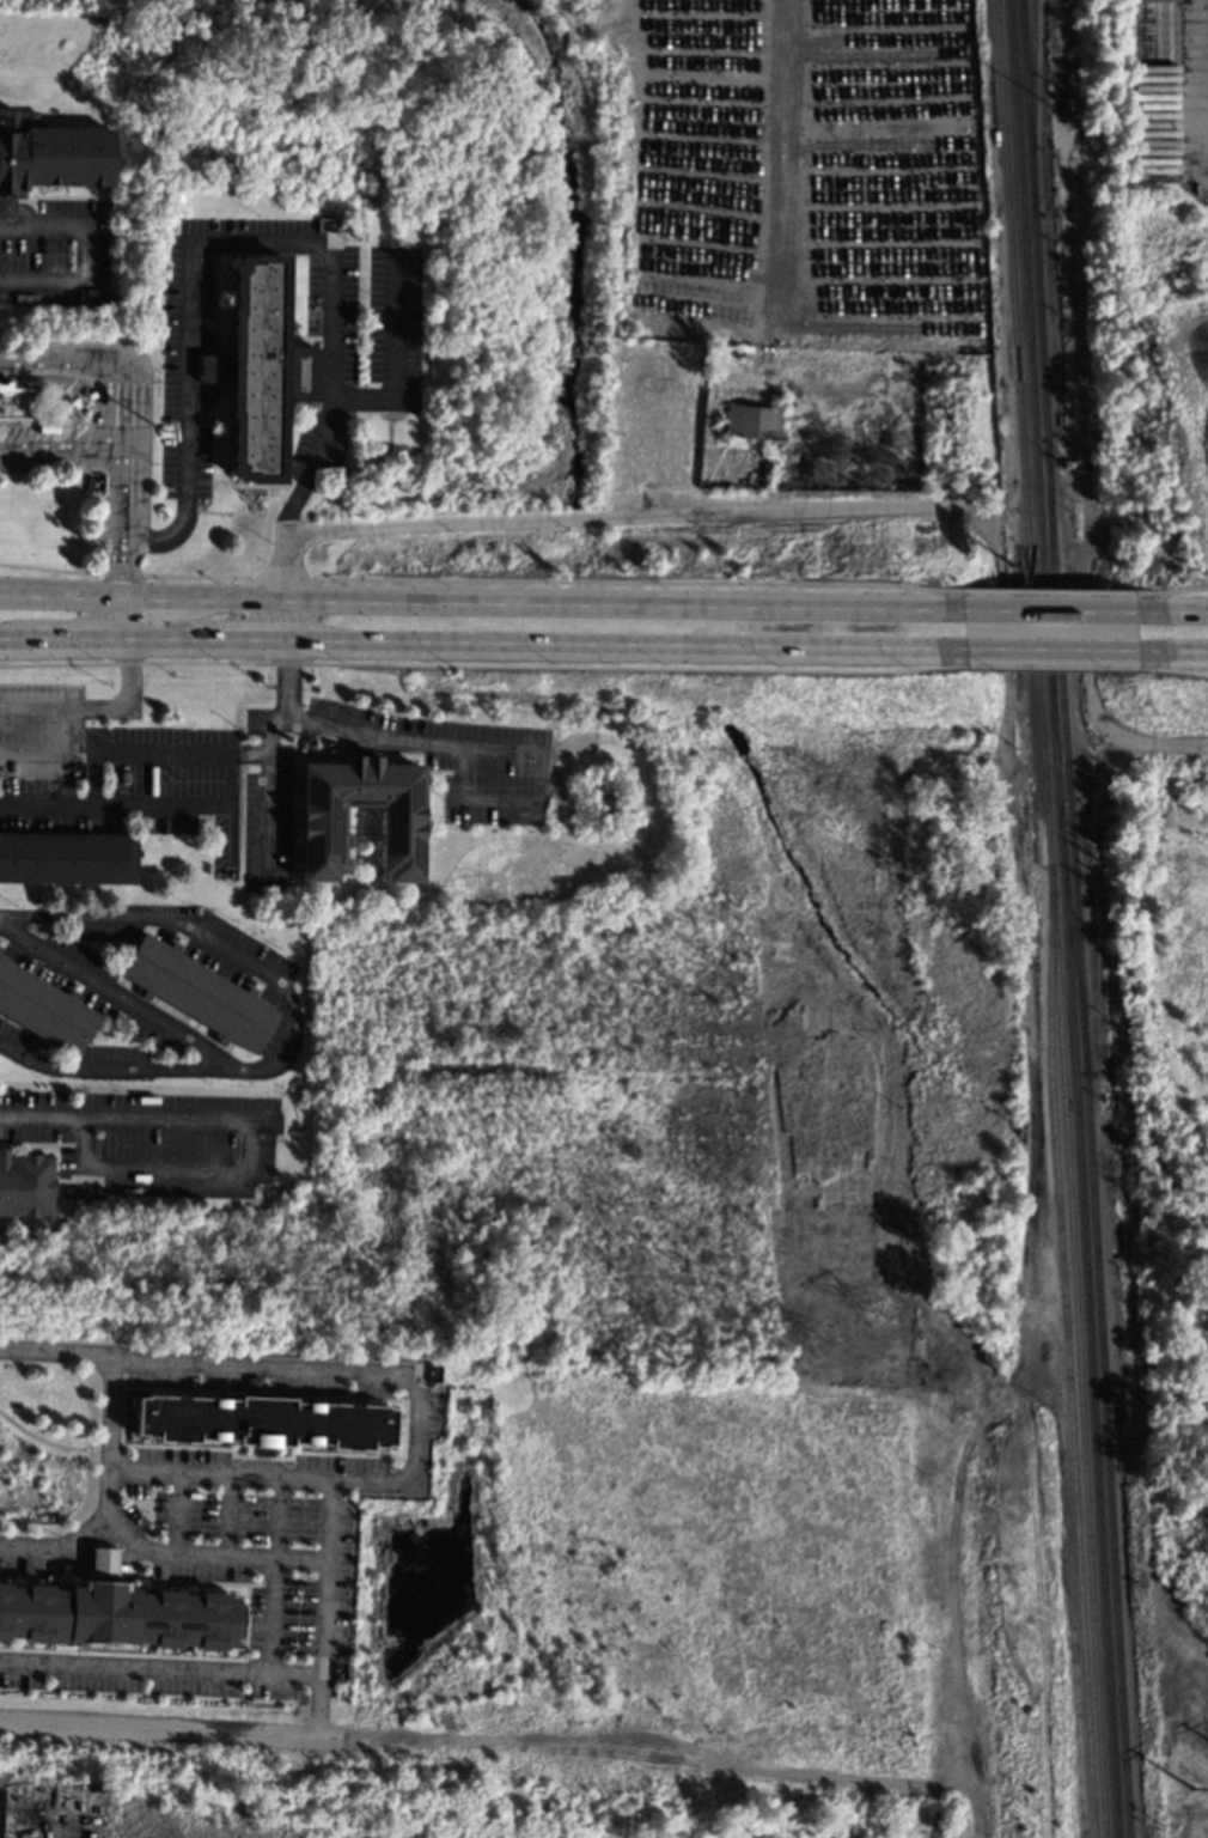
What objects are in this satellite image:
building: (1067, 102)
railway: (1031, 106)
building: (48, 156)
road: (764, 196)
railway: (1035, 219)
building: (319, 224)
road: (230, 242)
road: (83, 257)
building: (97, 294)
road: (392, 353)
road: (97, 363)
building: (257, 369)
parking lot: (374, 370)
road: (75, 379)
railway: (1032, 379)
building: (950, 396)
building: (648, 397)
road: (97, 398)
building: (13, 401)
building: (752, 420)
road: (59, 449)
power tower: (823, 467)
power tower: (880, 474)
building: (89, 482)
road: (1087, 482)
road: (602, 517)
road: (117, 546)
railway: (1051, 598)
road: (480, 600)
road: (1045, 610)
road: (1170, 611)
road: (4, 638)
road: (67, 639)
road: (171, 640)
road: (251, 640)
road: (623, 644)
road: (1048, 649)
road: (1171, 650)
road: (286, 680)
road: (96, 706)
road: (343, 730)
building: (530, 747)
road: (36, 749)
road: (128, 750)
road: (484, 751)
railway: (1066, 755)
road: (93, 777)
railway: (1056, 781)
power tower: (792, 787)
parking lot: (115, 789)
power tower: (852, 790)
road: (160, 804)
road: (230, 839)
building: (319, 839)
building: (67, 857)
building: (196, 909)
railway: (1050, 918)
road: (207, 938)
railway: (1070, 938)
building: (0, 947)
parking lot: (244, 972)
building: (197, 991)
parking lot: (105, 994)
road: (120, 998)
building: (43, 1008)
parking lot: (16, 1037)
road: (117, 1070)
road: (42, 1115)
parking lot: (151, 1140)
road: (251, 1175)
building: (25, 1183)
building: (65, 1191)
building: (97, 1191)
power tower: (880, 1314)
railway: (1086, 1320)
power tower: (823, 1340)
railway: (1064, 1352)
building: (252, 1383)
road: (111, 1401)
building: (262, 1422)
road: (414, 1430)
railway: (1106, 1455)
road: (176, 1514)
road: (225, 1516)
road: (324, 1521)
parking lot: (246, 1528)
road: (86, 1529)
road: (32, 1546)
parking lot: (32, 1554)
road: (313, 1560)
road: (103, 1562)
building: (102, 1564)
road: (274, 1576)
building: (118, 1615)
road: (134, 1664)
road: (317, 1706)
road: (175, 1730)
building: (0, 1796)
power tower: (1194, 1796)

